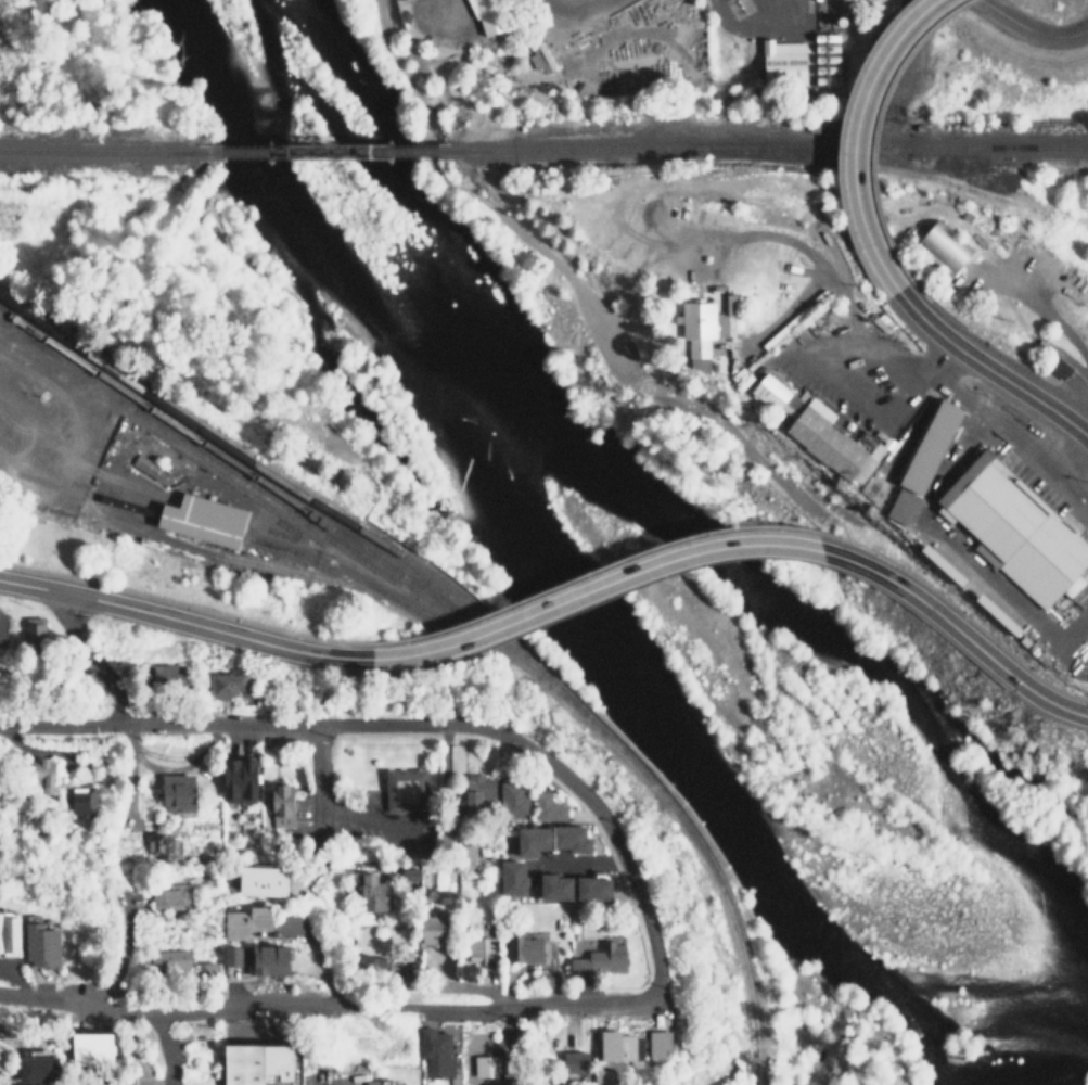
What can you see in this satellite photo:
building: (856, 0)
building: (490, 14)
road: (1028, 30)
building: (534, 56)
building: (779, 65)
road: (855, 136)
railway: (770, 149)
railway: (327, 151)
railway: (100, 152)
railway: (901, 174)
building: (939, 248)
road: (815, 259)
road: (563, 278)
building: (729, 303)
building: (814, 317)
road: (1040, 318)
building: (882, 320)
building: (697, 322)
road: (988, 367)
building: (1060, 367)
road: (911, 378)
road: (842, 387)
building: (770, 391)
building: (827, 441)
building: (924, 459)
building: (145, 468)
road: (102, 485)
railway: (308, 499)
railway: (276, 506)
building: (197, 519)
building: (1020, 533)
road: (593, 589)
railway: (375, 592)
river: (572, 614)
road: (184, 622)
railway: (471, 624)
building: (35, 629)
road: (957, 629)
building: (165, 676)
building: (227, 684)
road: (117, 713)
road: (61, 722)
road: (300, 726)
building: (44, 774)
building: (239, 779)
road: (316, 784)
building: (407, 788)
building: (477, 790)
building: (176, 791)
building: (81, 799)
building: (511, 800)
building: (280, 805)
building: (547, 807)
road: (372, 817)
building: (28, 821)
road: (611, 832)
building: (548, 839)
building: (159, 845)
building: (464, 853)
building: (410, 875)
building: (510, 878)
building: (261, 880)
building: (569, 888)
building: (372, 893)
building: (169, 896)
building: (243, 921)
building: (428, 930)
building: (12, 931)
building: (46, 944)
building: (524, 949)
building: (479, 950)
road: (119, 954)
building: (230, 955)
building: (168, 959)
building: (265, 960)
building: (597, 960)
building: (368, 961)
road: (318, 965)
building: (209, 969)
road: (327, 1004)
building: (655, 1043)
building: (619, 1046)
road: (141, 1047)
road: (508, 1047)
building: (93, 1048)
building: (434, 1051)
building: (5, 1055)
building: (574, 1061)
building: (252, 1064)
building: (482, 1065)
building: (42, 1068)
building: (602, 1076)
building: (377, 1082)

